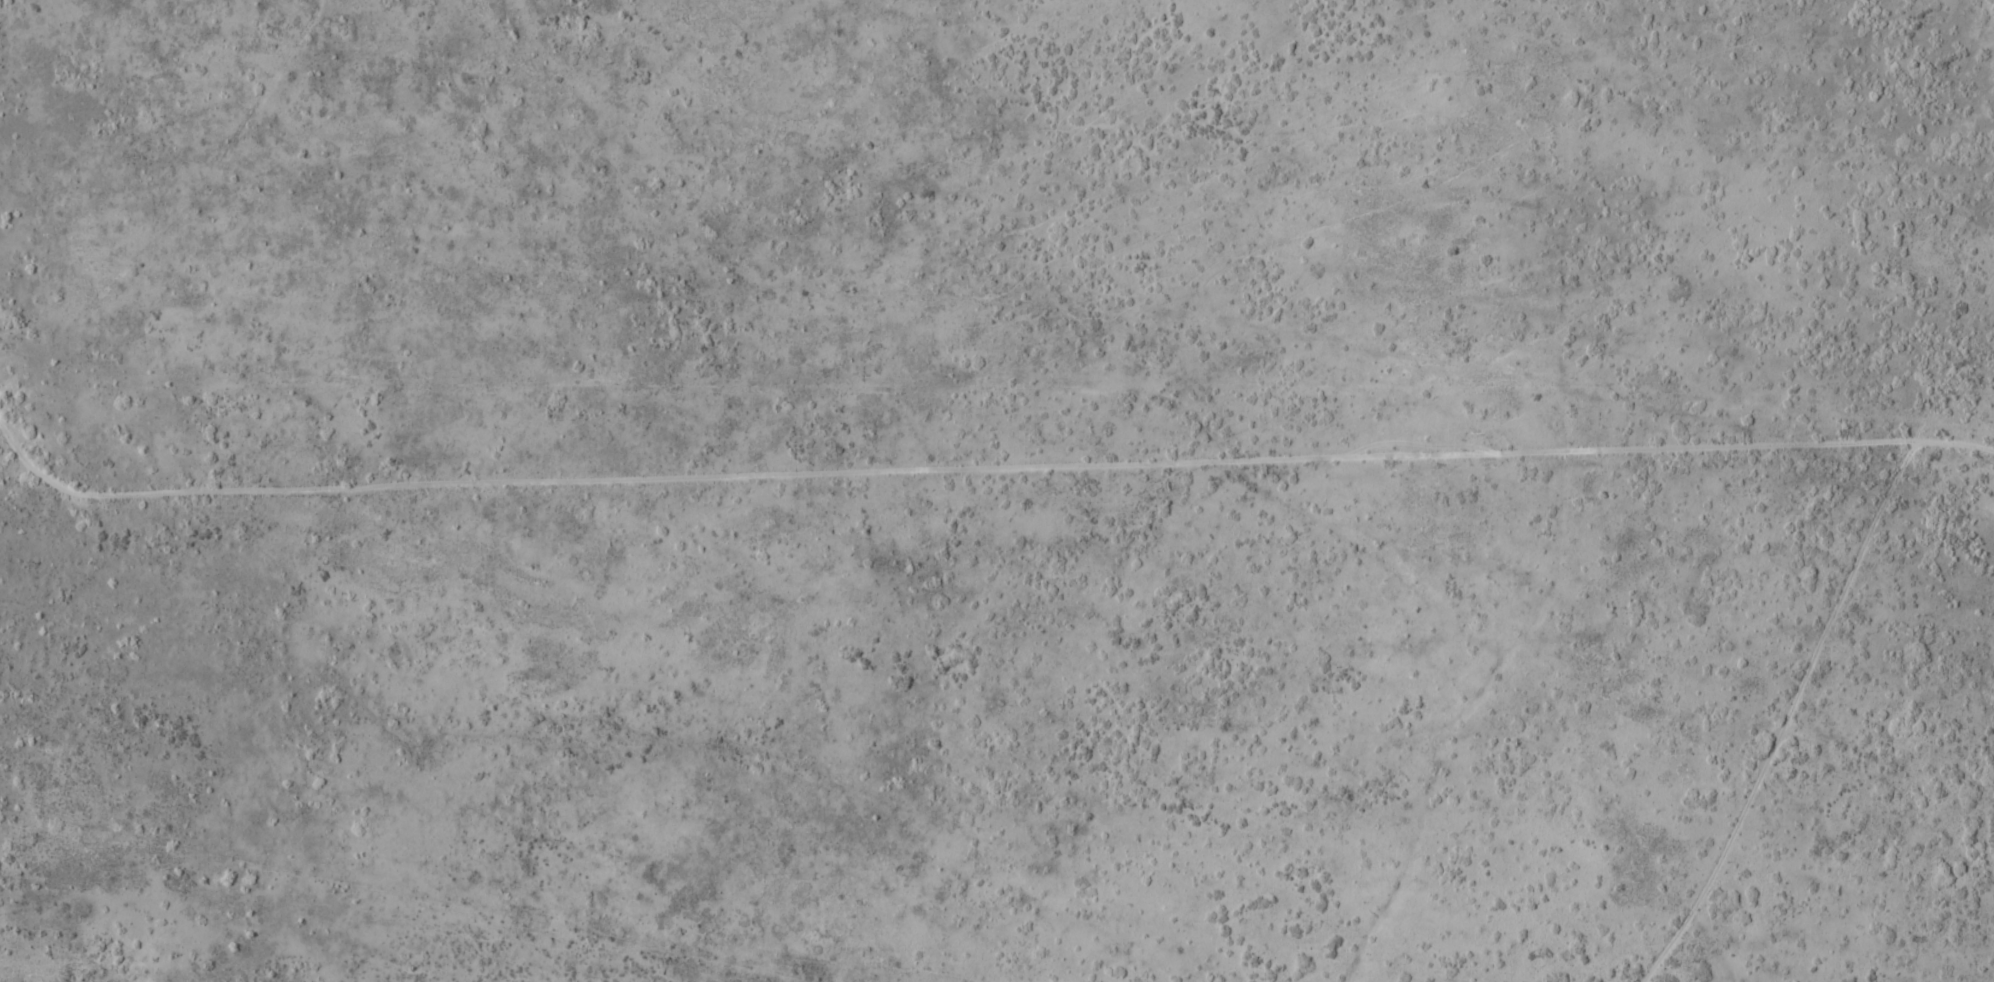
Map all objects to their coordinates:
road: (1819, 671)

